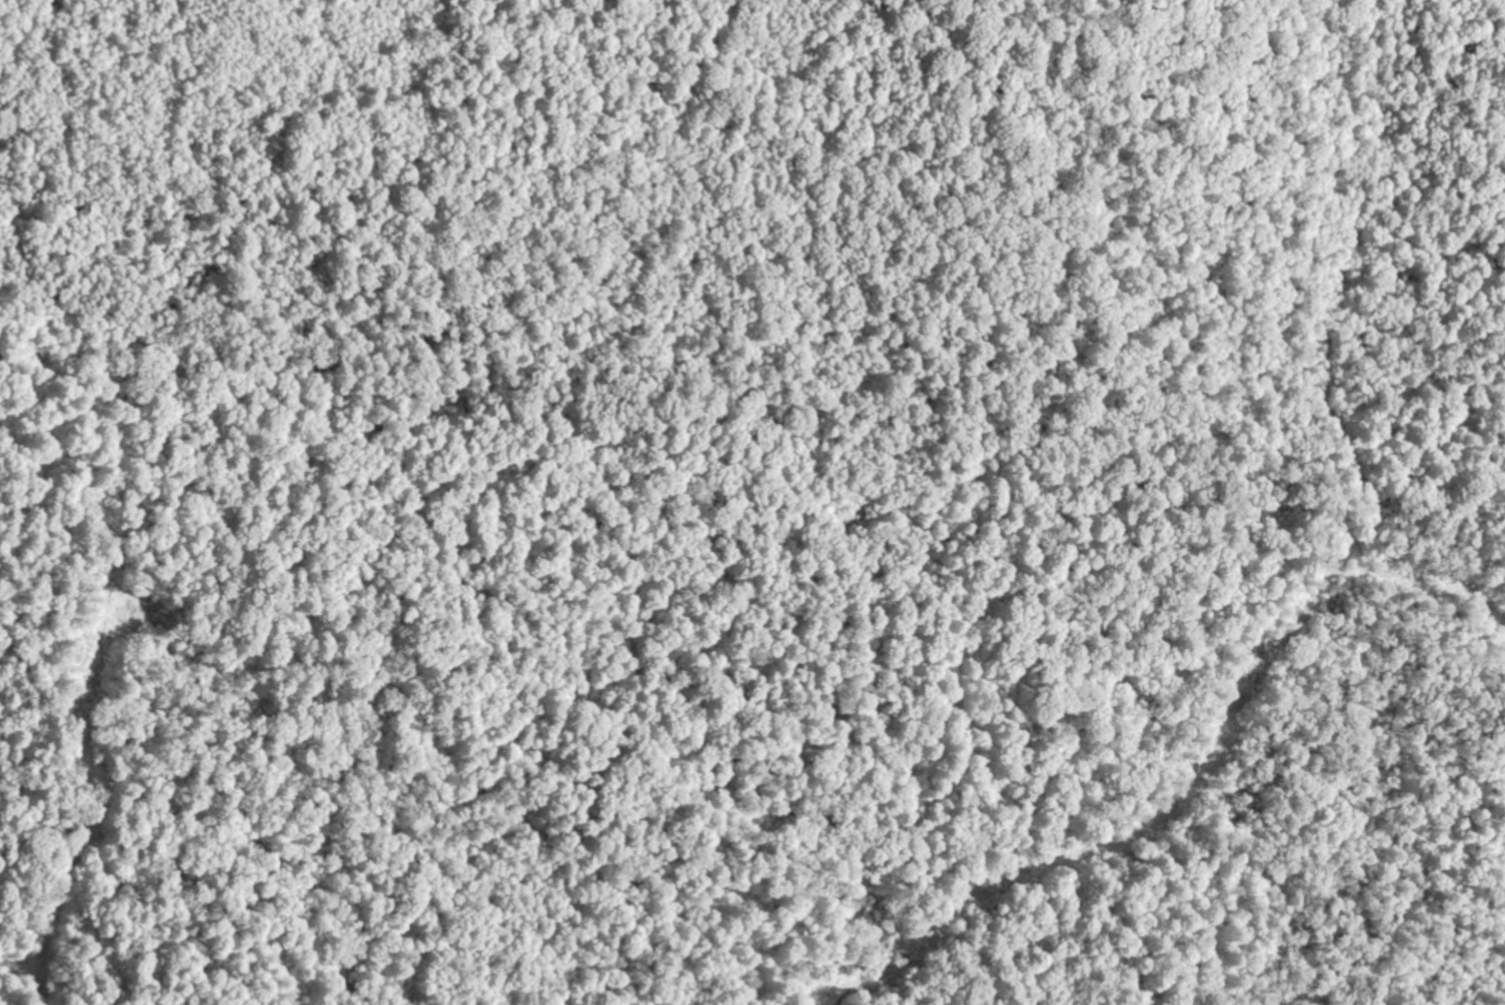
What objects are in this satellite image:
quarry: (216, 99)

